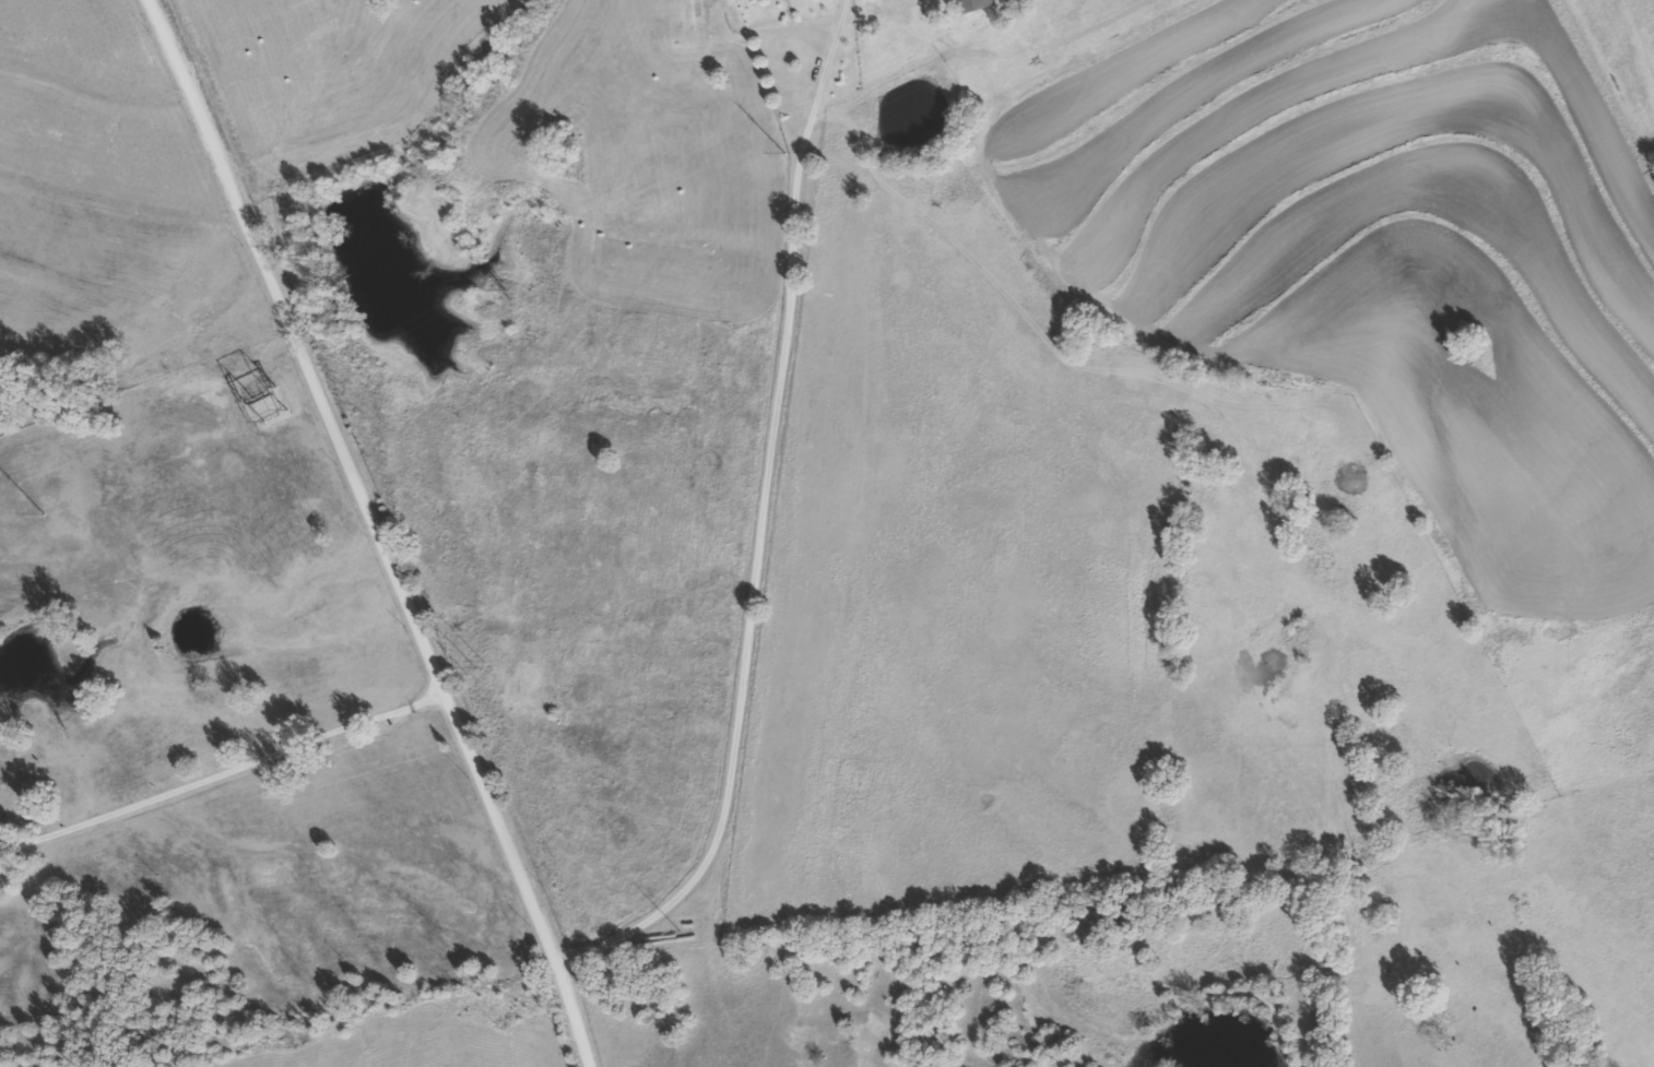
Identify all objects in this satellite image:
building: (972, 4)
power tower: (781, 150)
power tower: (503, 286)
building: (264, 401)
power tower: (39, 512)
road: (363, 531)

